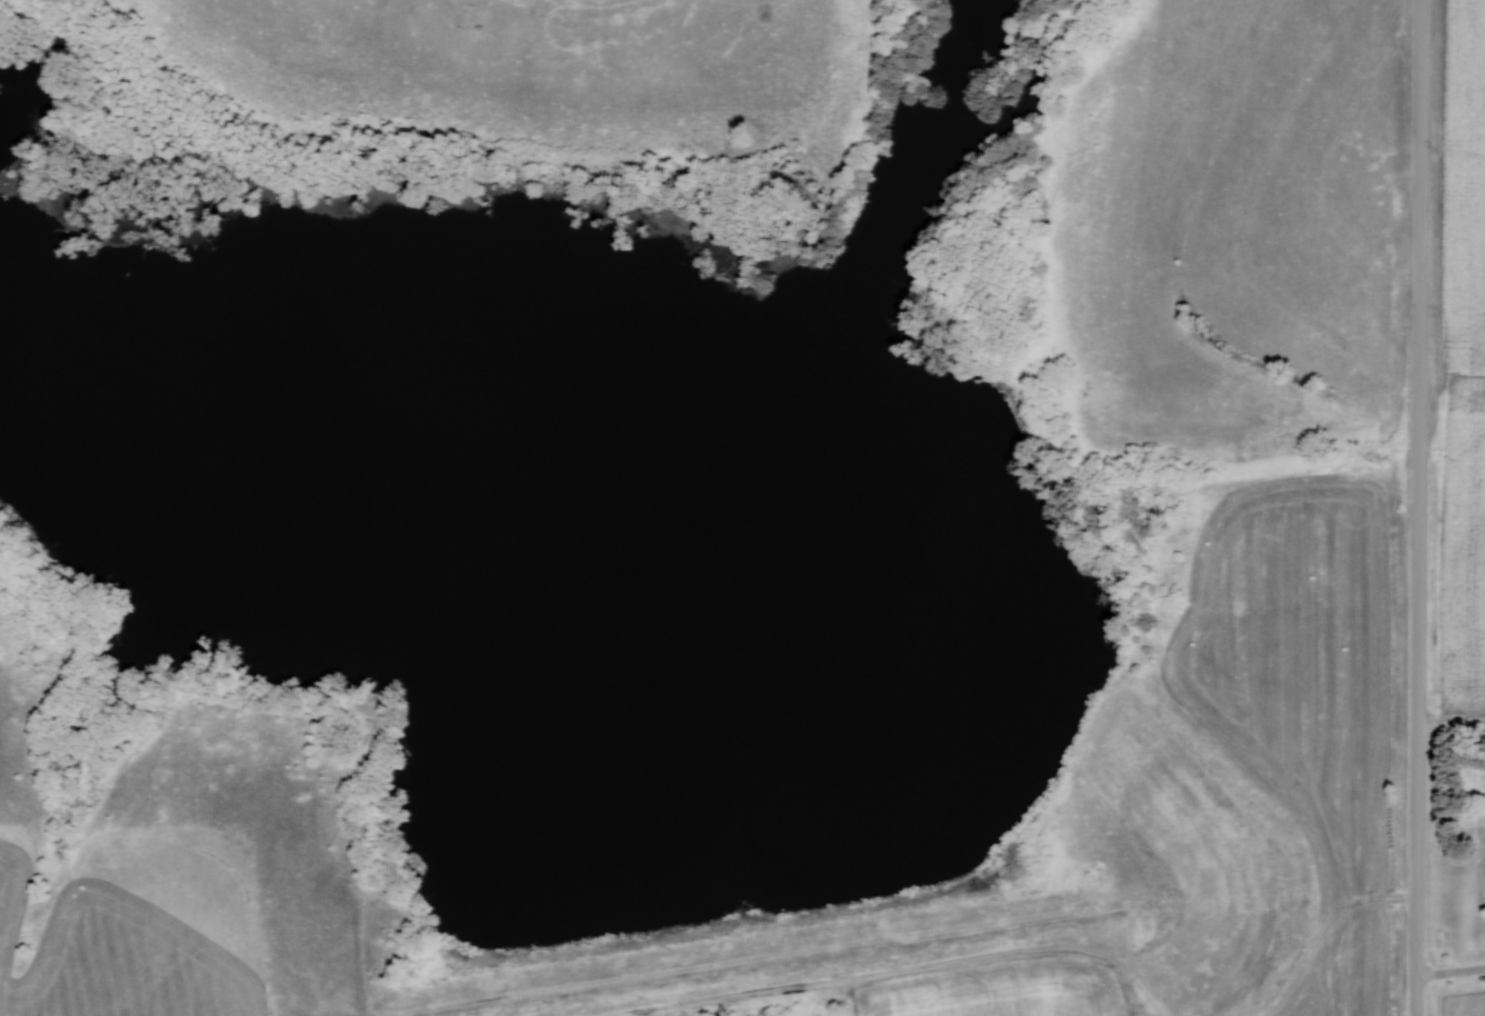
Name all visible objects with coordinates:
road: (1424, 507)
road: (1454, 976)

